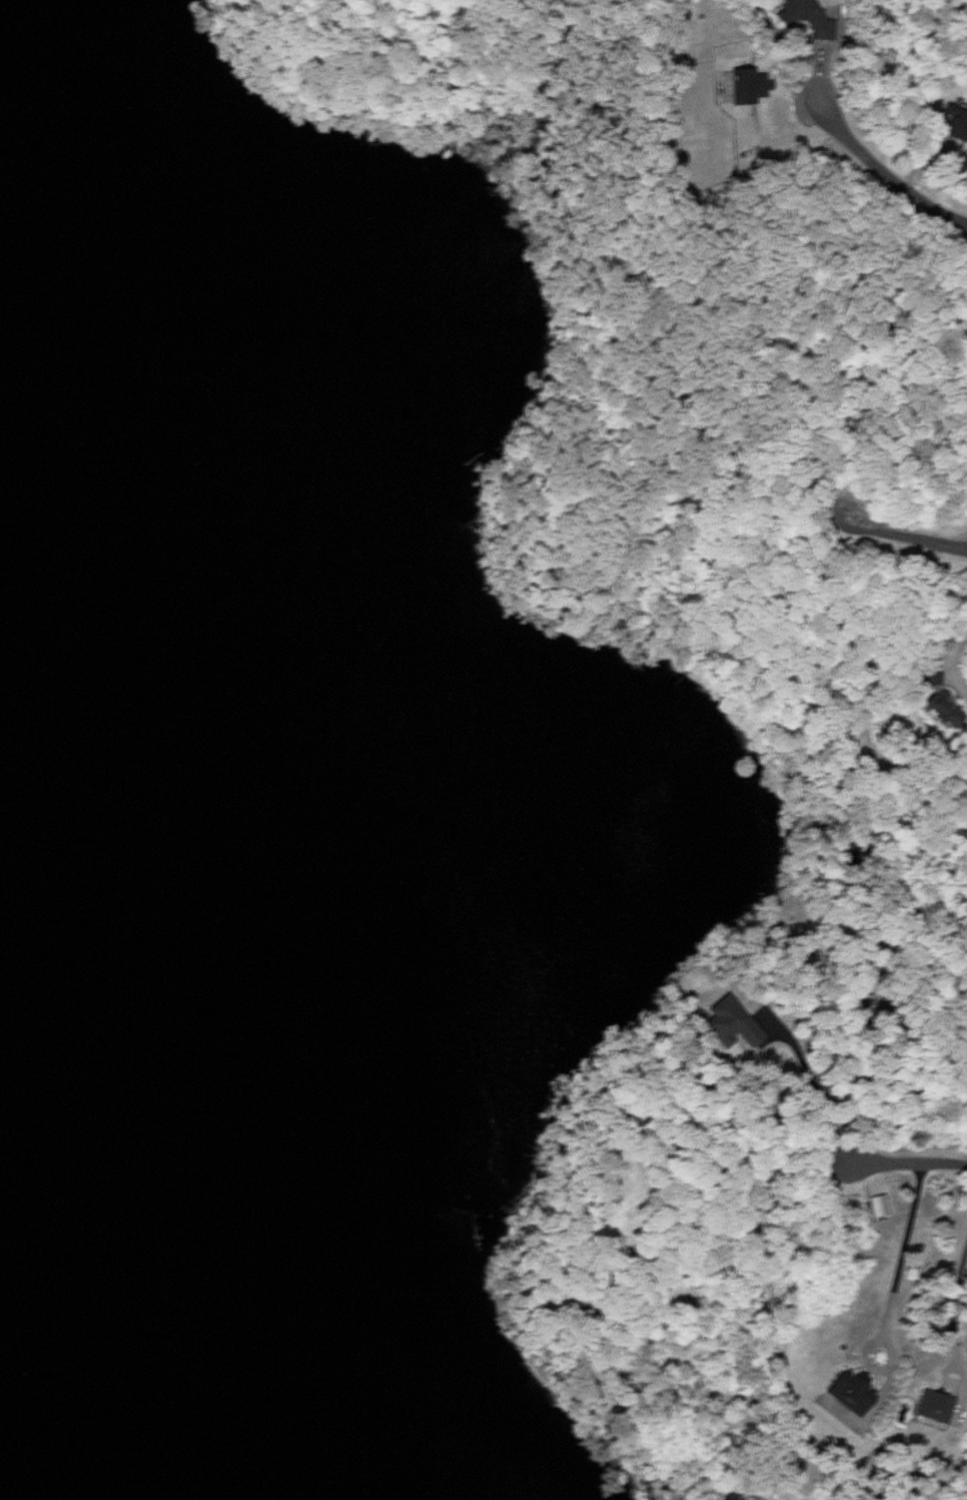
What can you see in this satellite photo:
building: (750, 86)
building: (959, 124)
road: (890, 180)
road: (911, 541)
road: (949, 704)
building: (945, 711)
building: (732, 1022)
road: (910, 1164)
building: (879, 1205)
road: (892, 1297)
building: (852, 1391)
building: (935, 1406)

